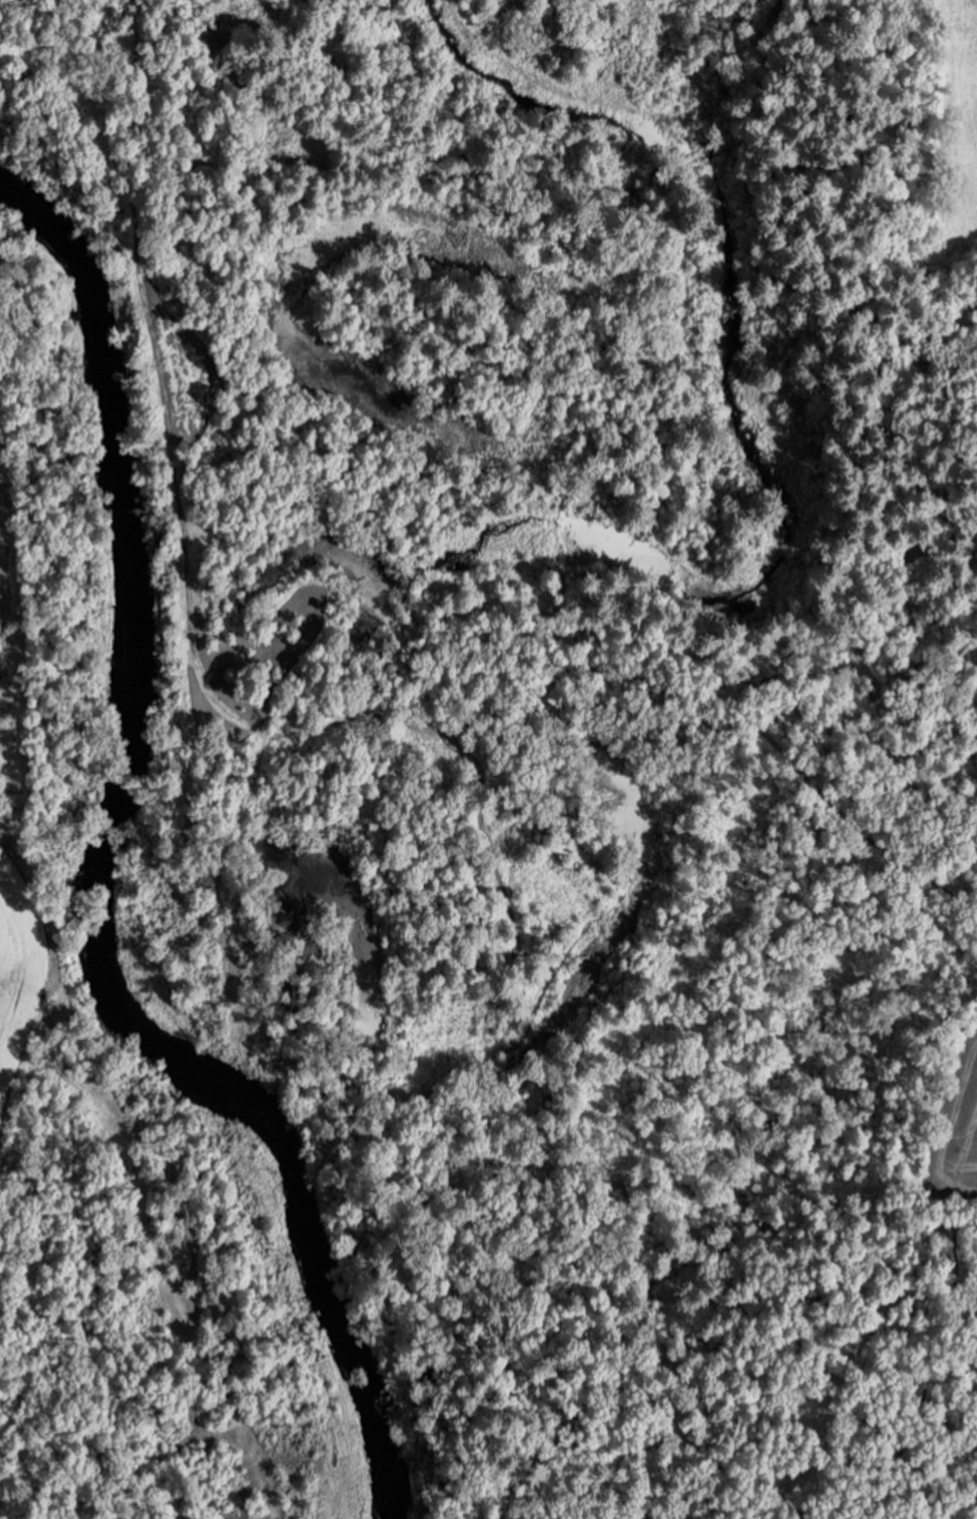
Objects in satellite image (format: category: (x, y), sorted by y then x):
crop: (952, 123)
river: (96, 881)

